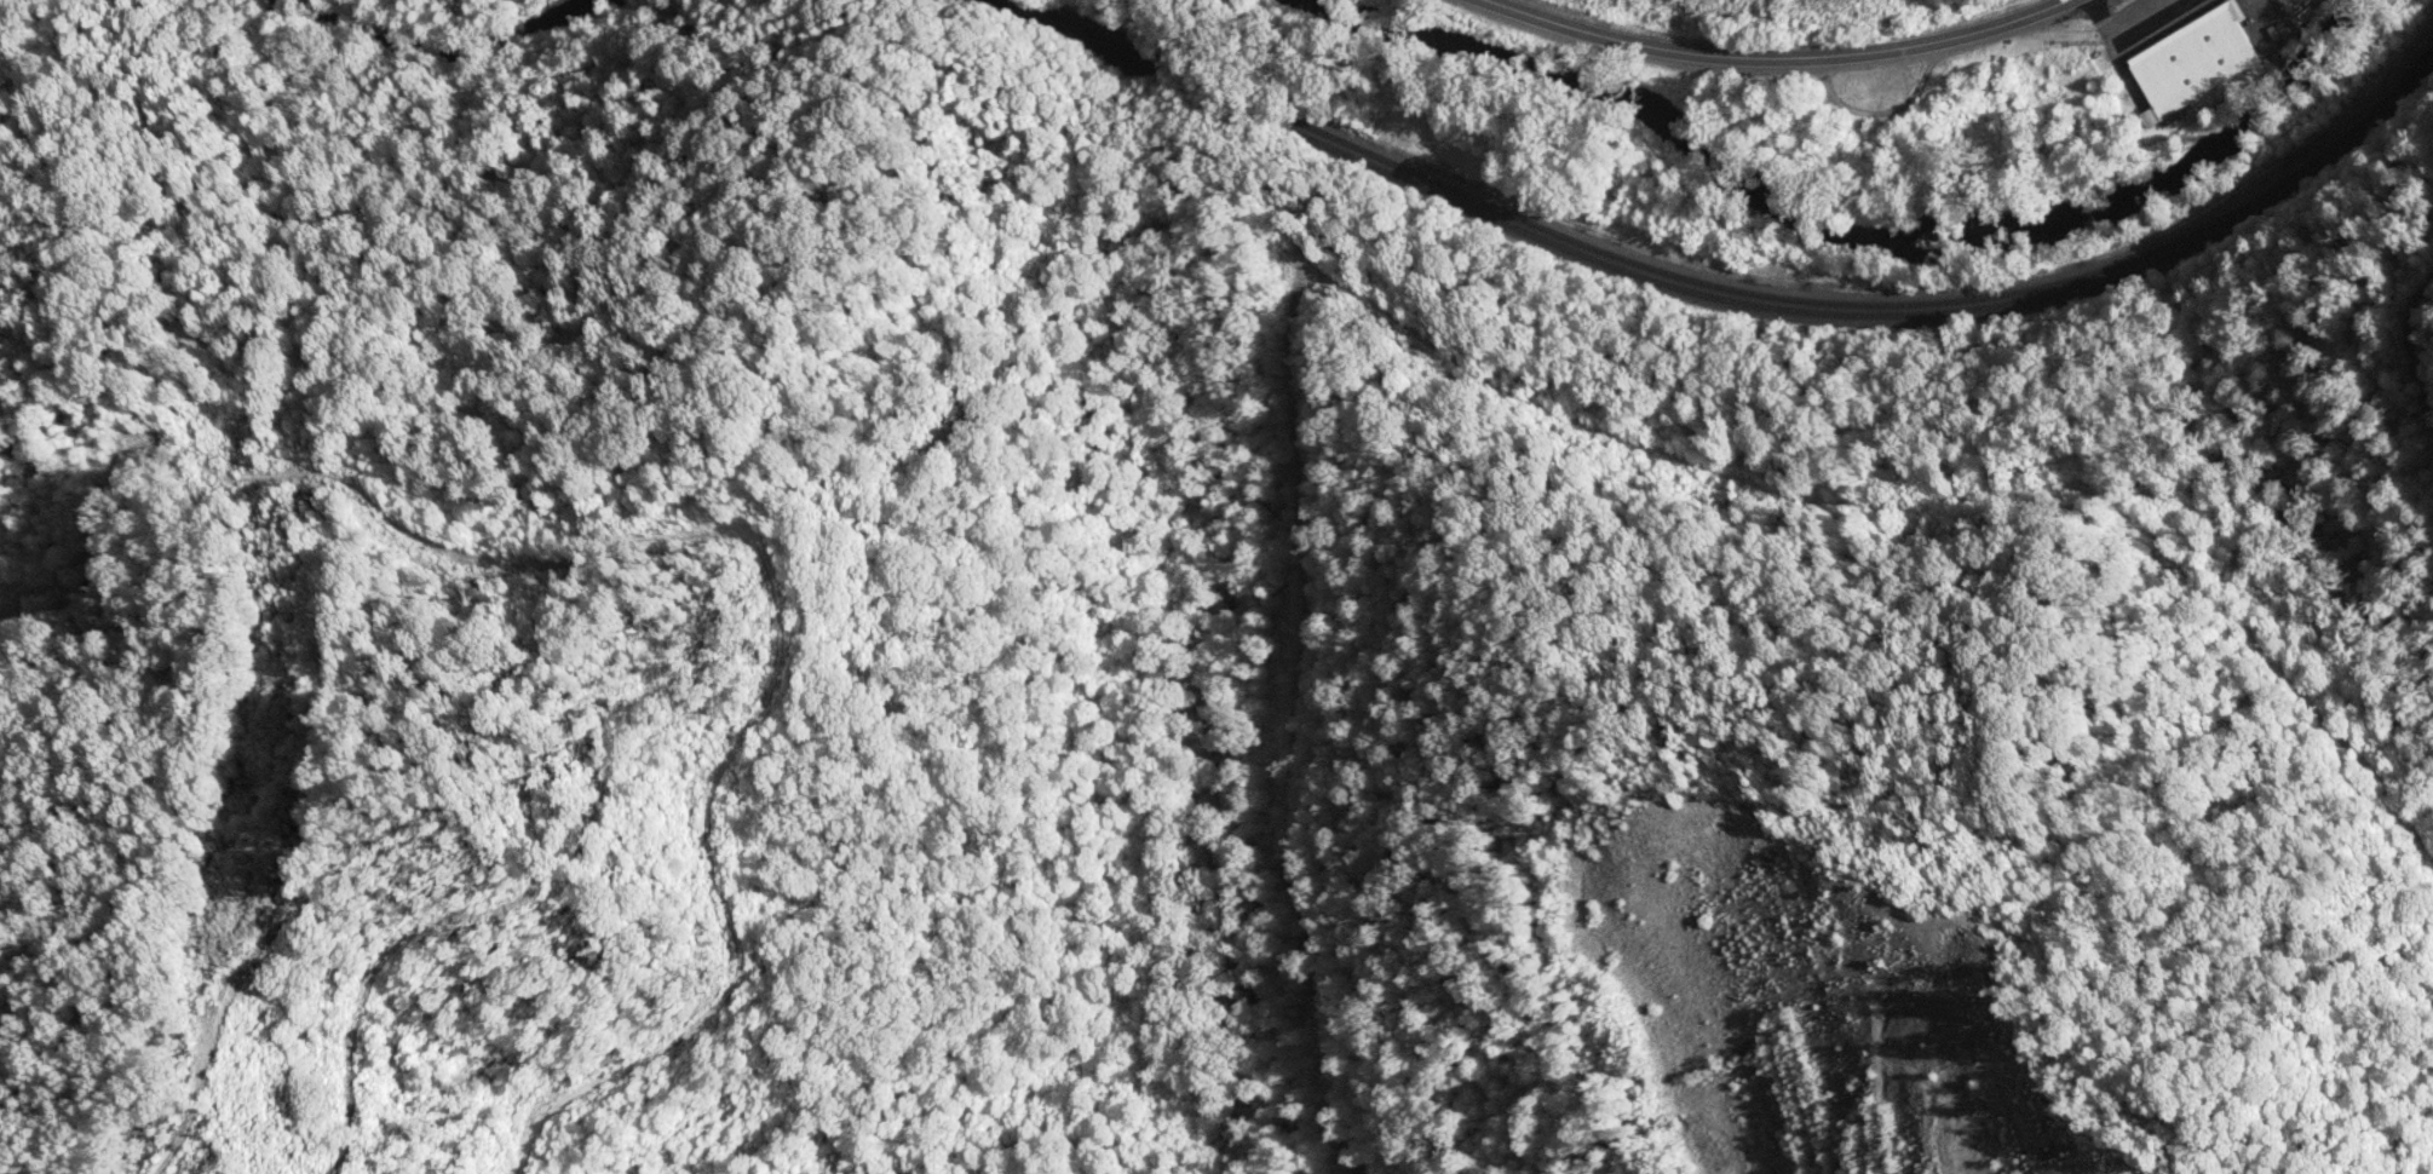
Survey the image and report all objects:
road: (1781, 58)
building: (2195, 63)
railway: (1733, 278)
railway: (1713, 289)

